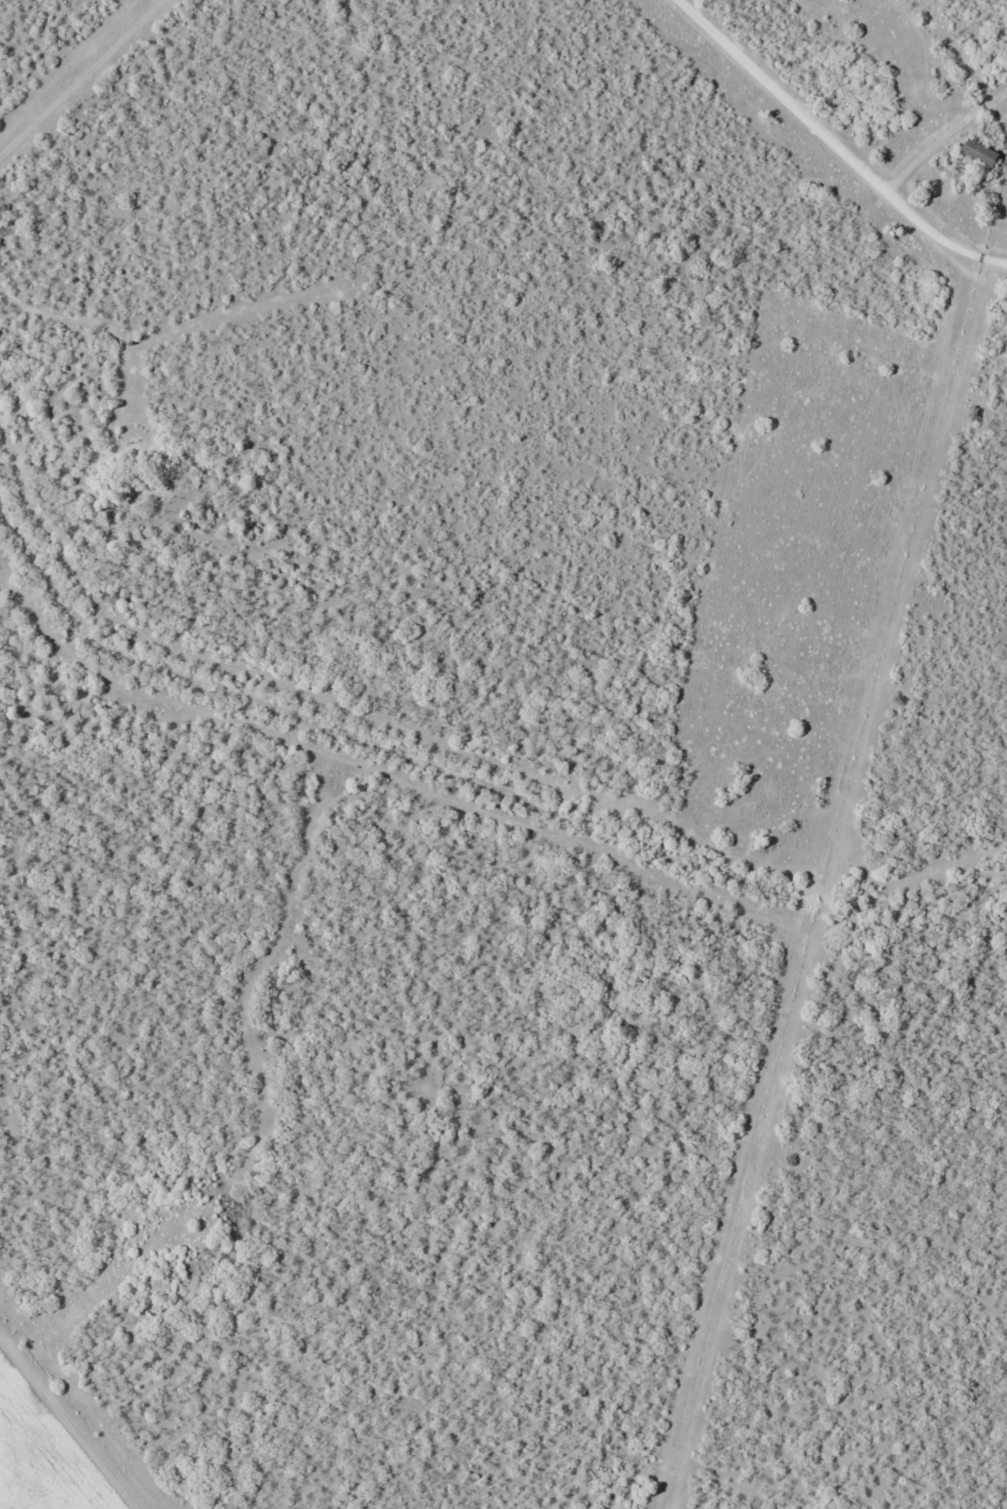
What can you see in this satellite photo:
road: (834, 150)
building: (982, 153)

